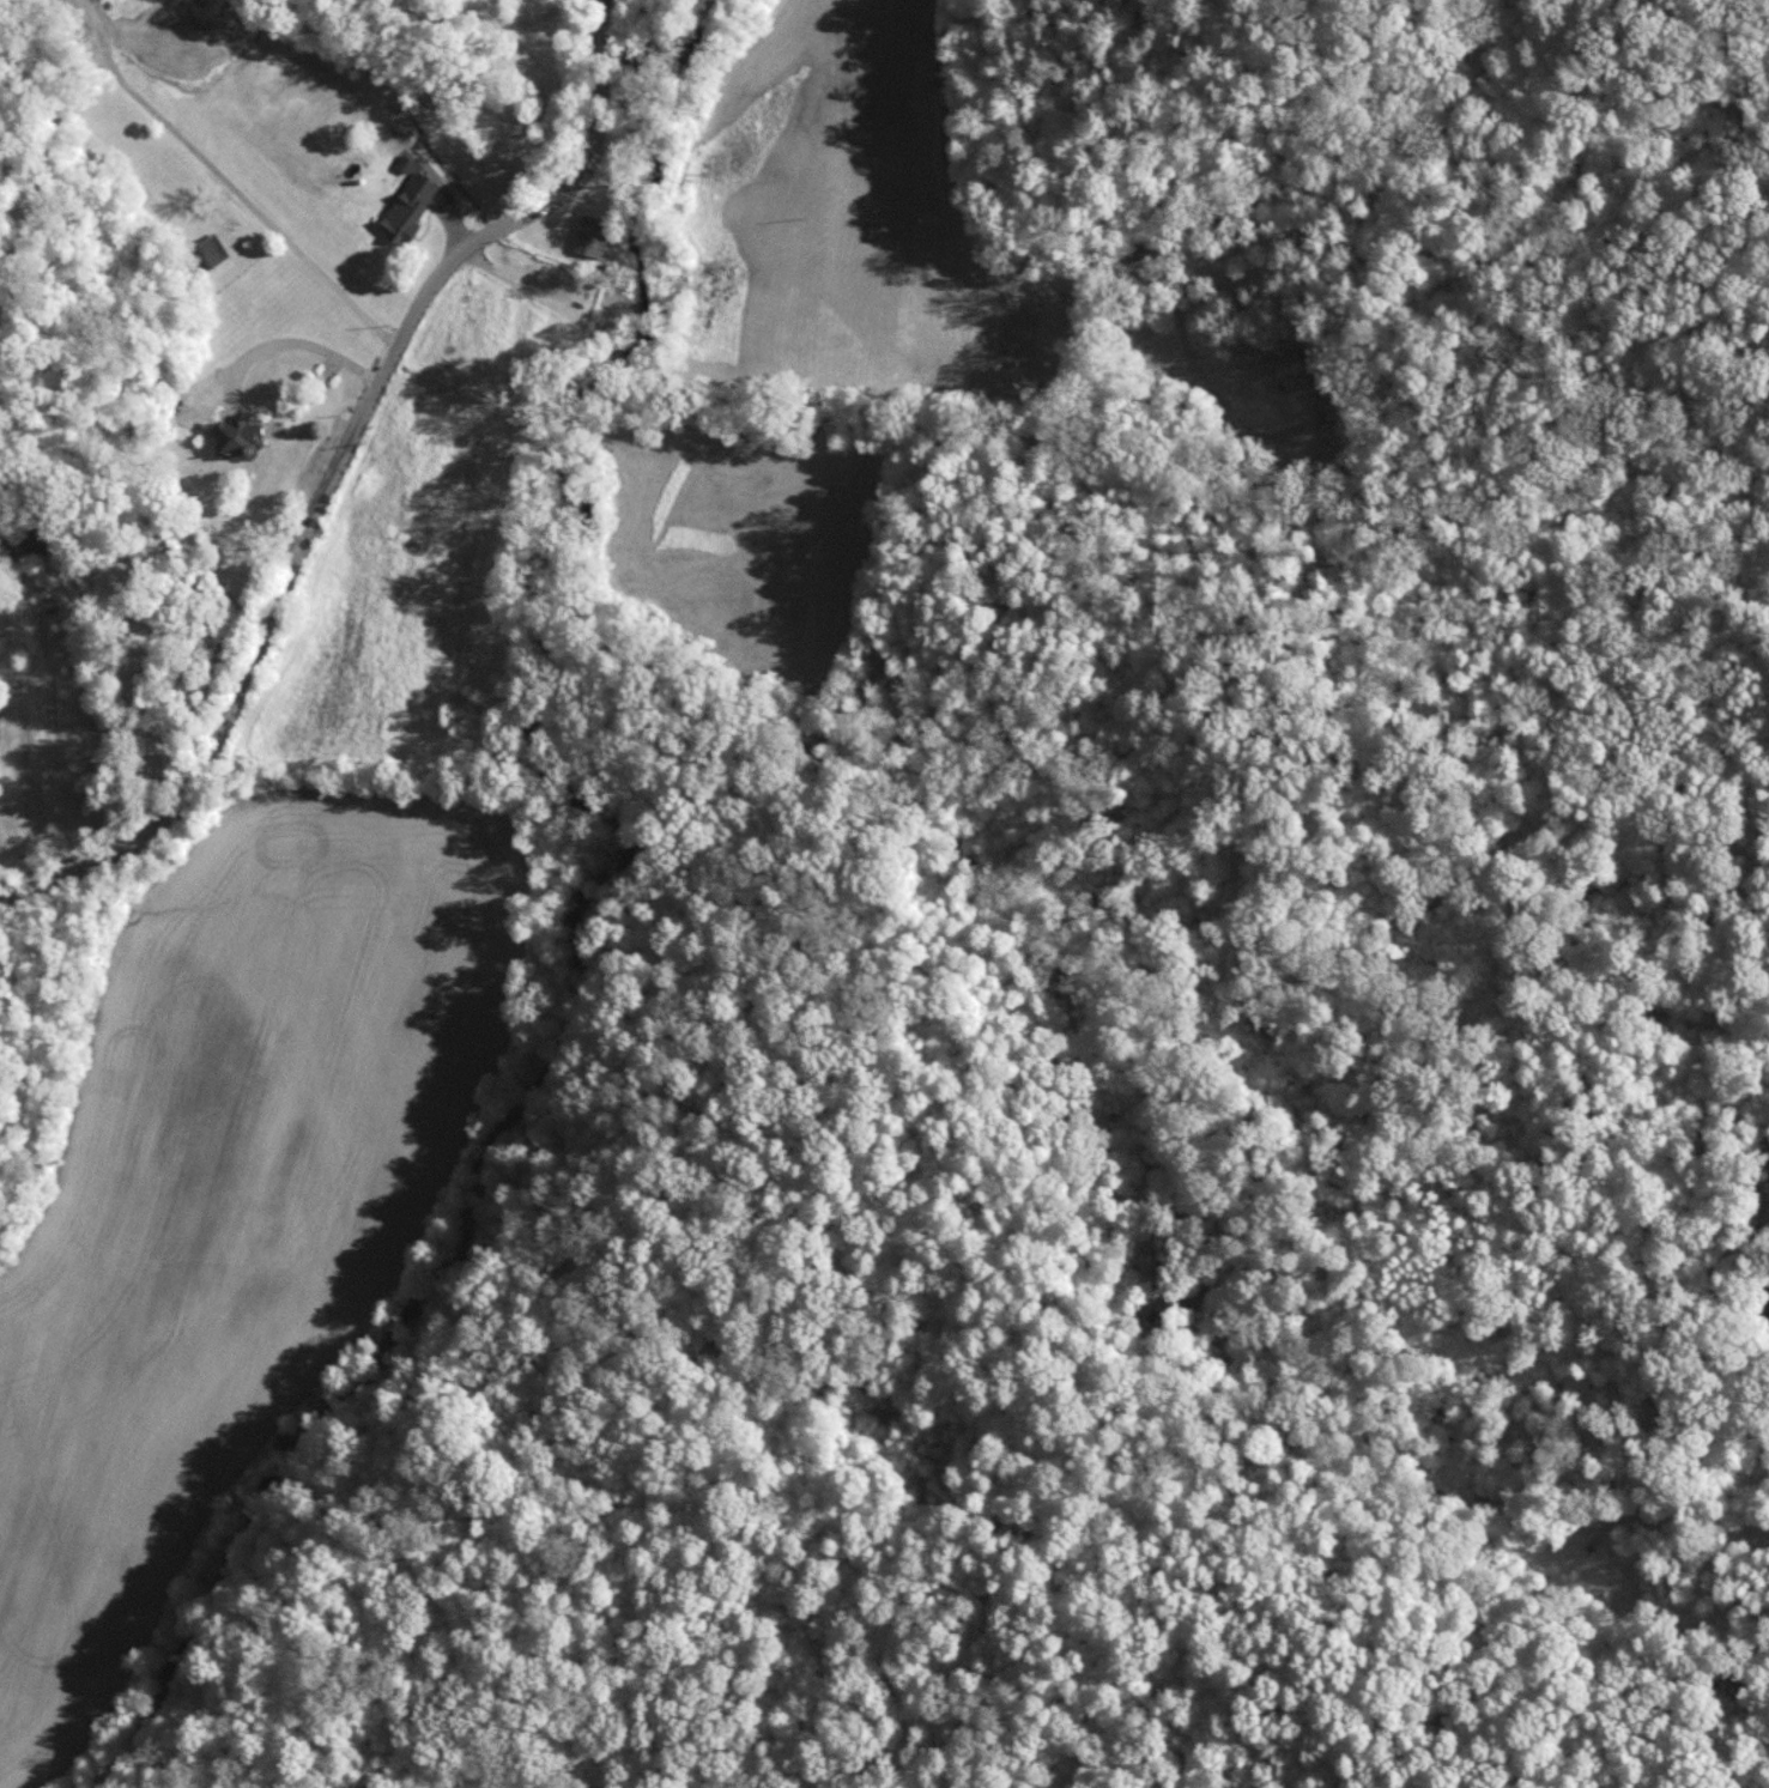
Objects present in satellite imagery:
building: (220, 10)
road: (380, 105)
road: (222, 176)
building: (407, 207)
building: (211, 249)
road: (1013, 250)
road: (519, 283)
road: (295, 333)
building: (1292, 383)
building: (237, 437)
road: (338, 462)
road: (66, 707)

